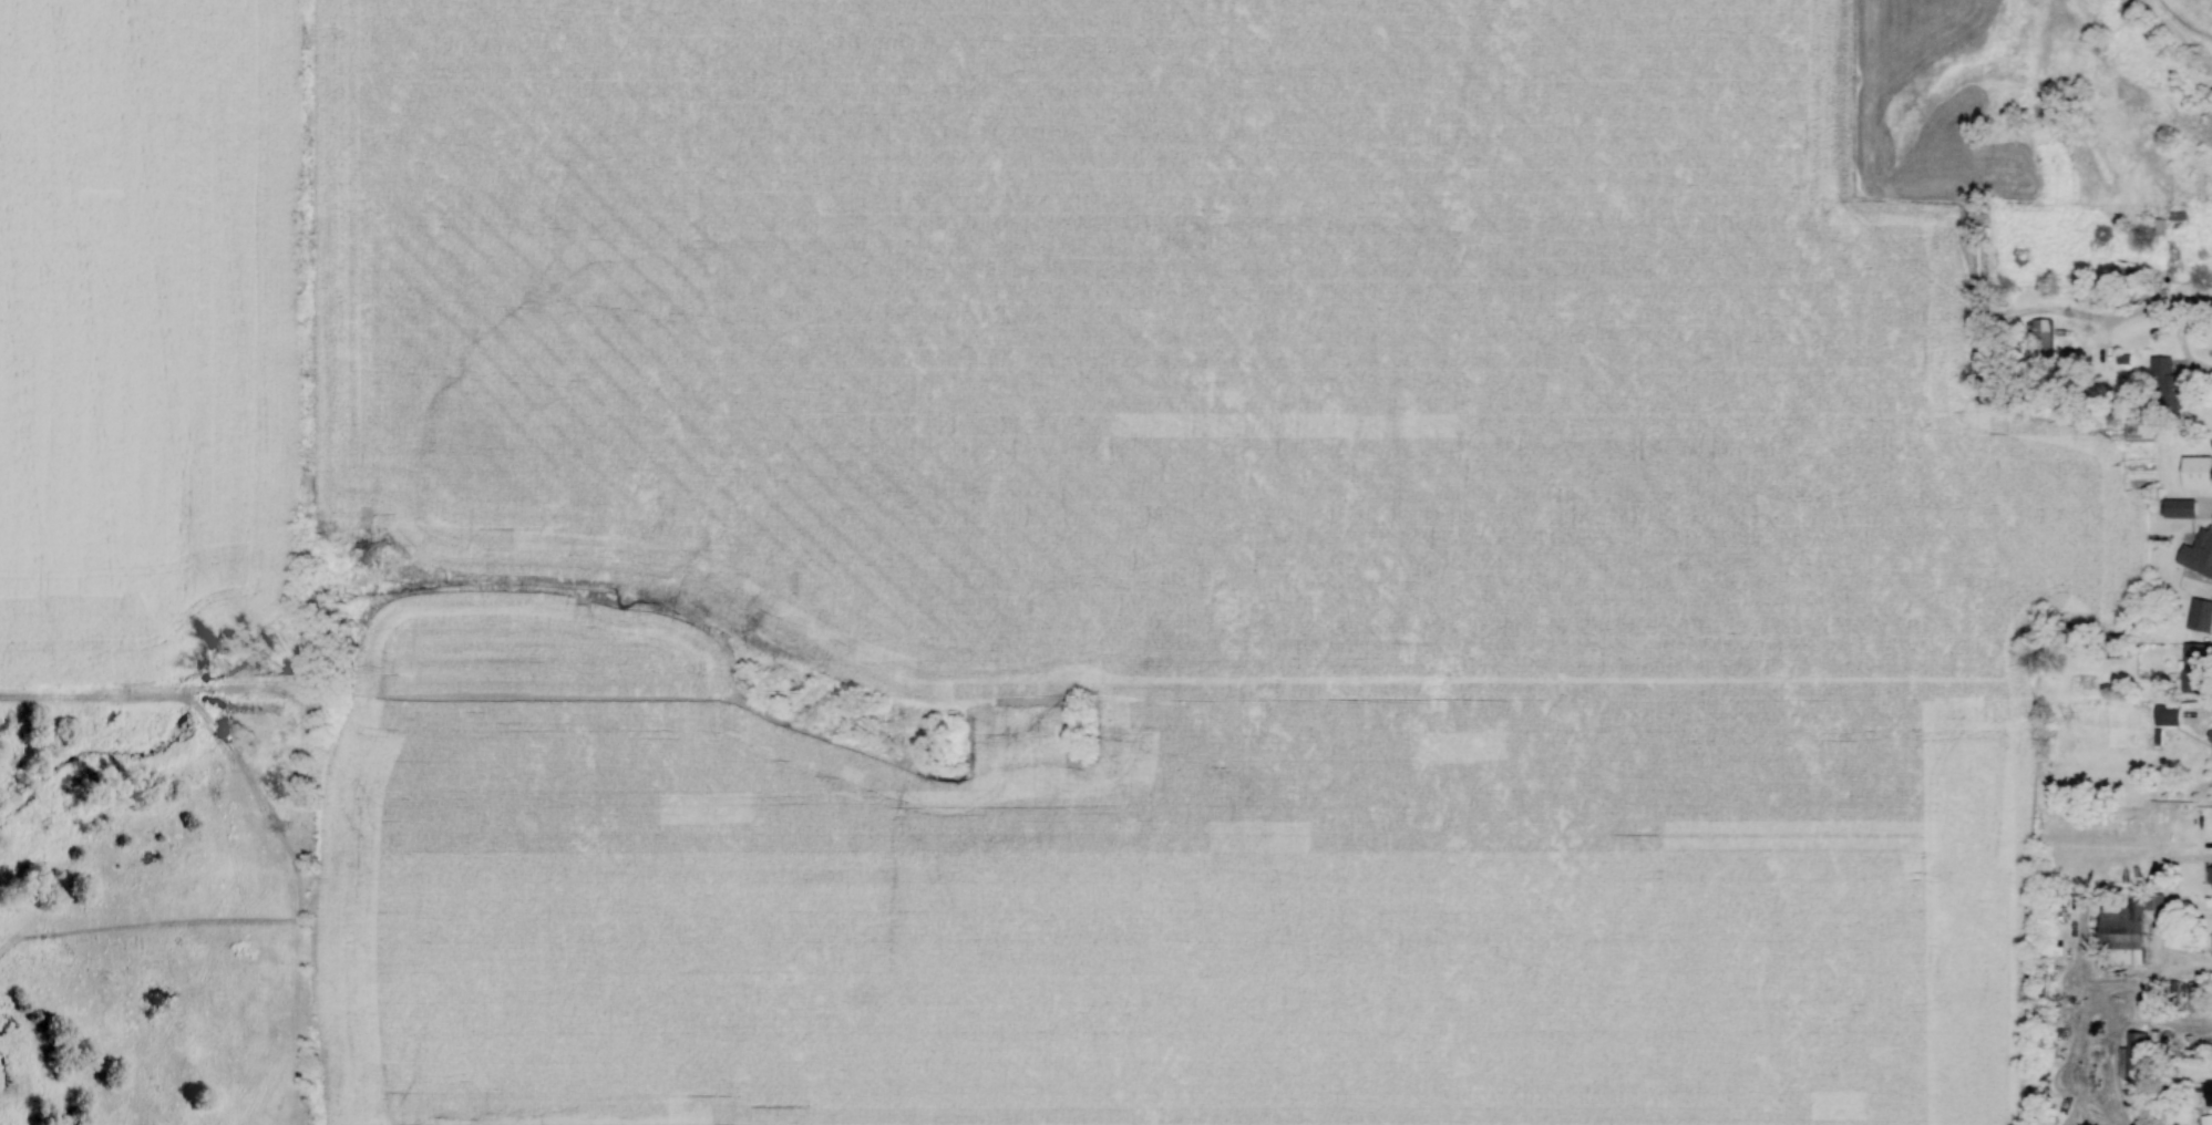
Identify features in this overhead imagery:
building: (2041, 341)
building: (2169, 384)
building: (2196, 473)
building: (2181, 508)
building: (2199, 554)
building: (2201, 616)
building: (2199, 669)
building: (2169, 715)
building: (2128, 929)
building: (2138, 1050)
building: (2209, 1092)

